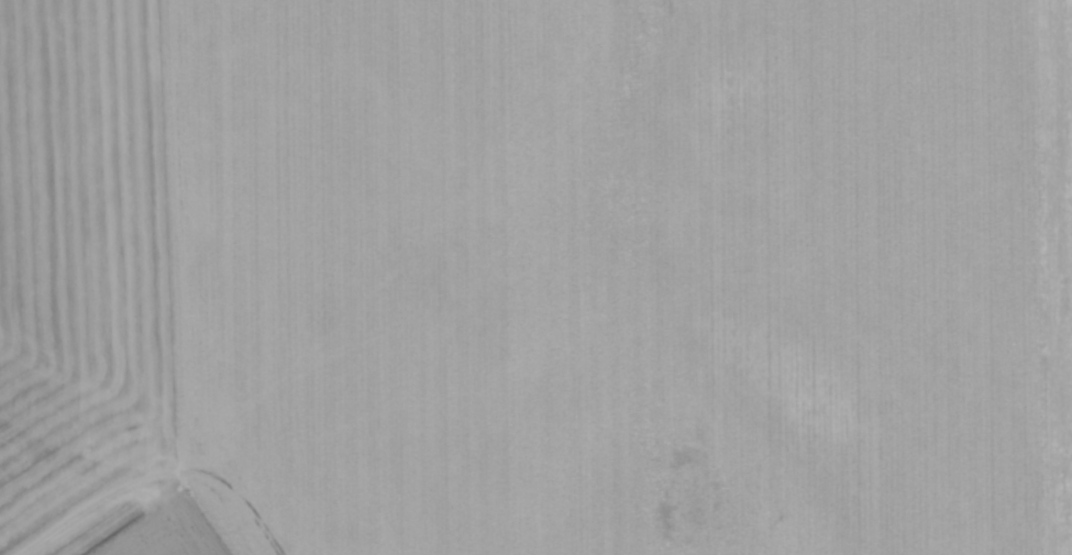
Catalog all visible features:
airport: (165, 532)

